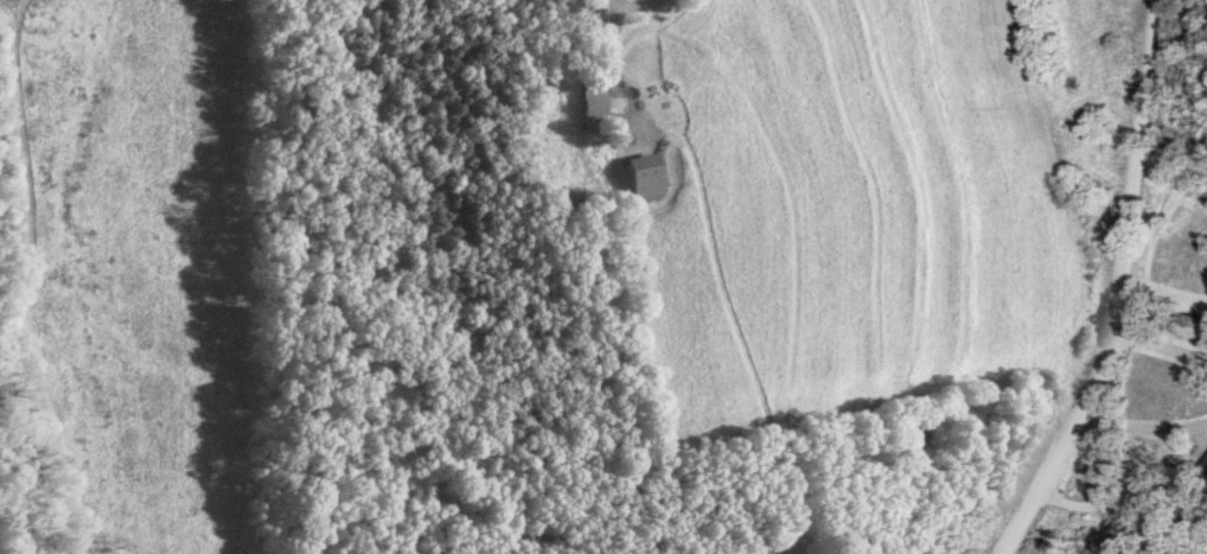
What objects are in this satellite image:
building: (583, 104)
building: (631, 177)
road: (1123, 288)
building: (1184, 327)
road: (1161, 349)
road: (1142, 427)

